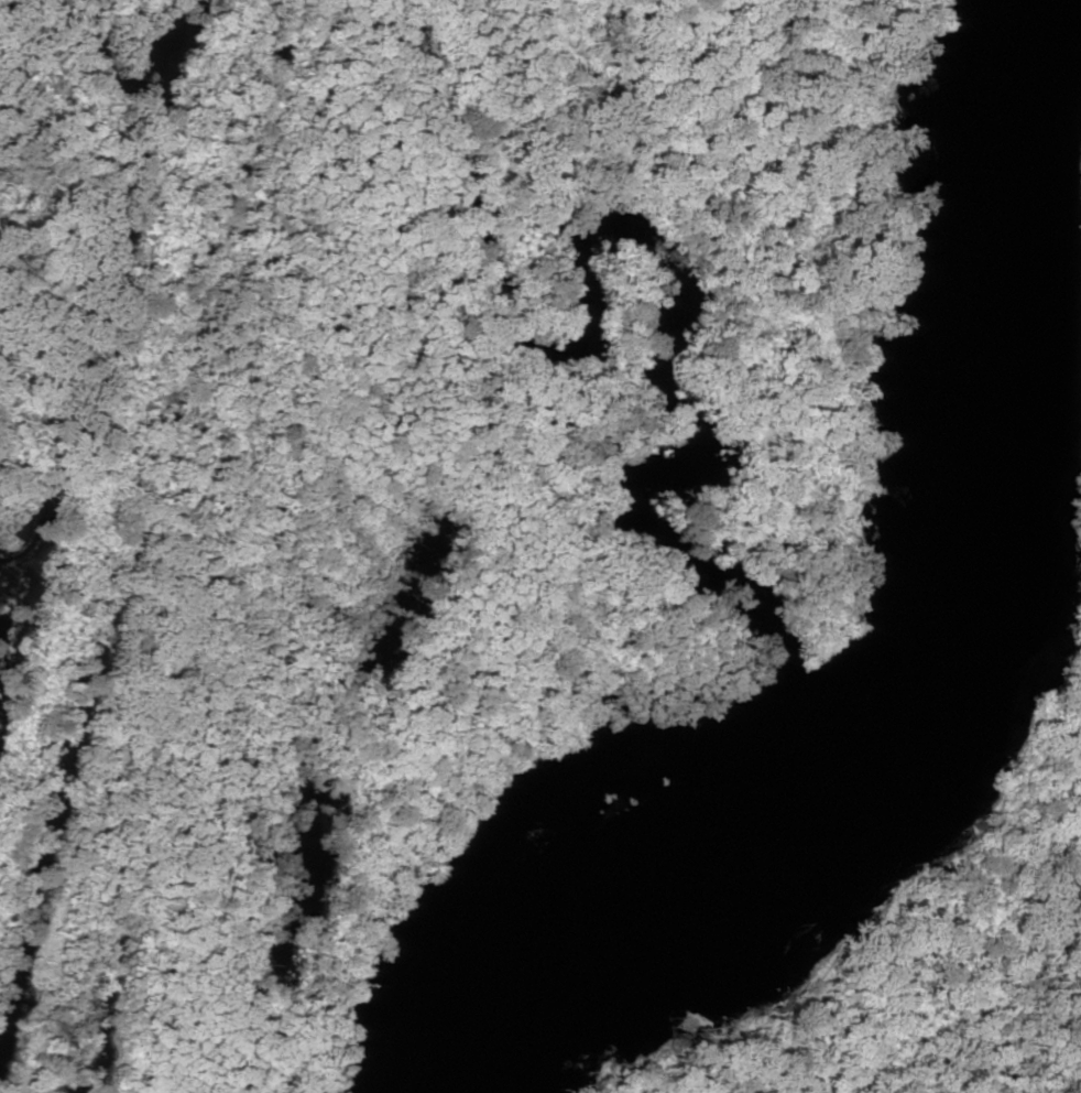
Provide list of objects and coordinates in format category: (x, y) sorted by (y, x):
river: (932, 647)

